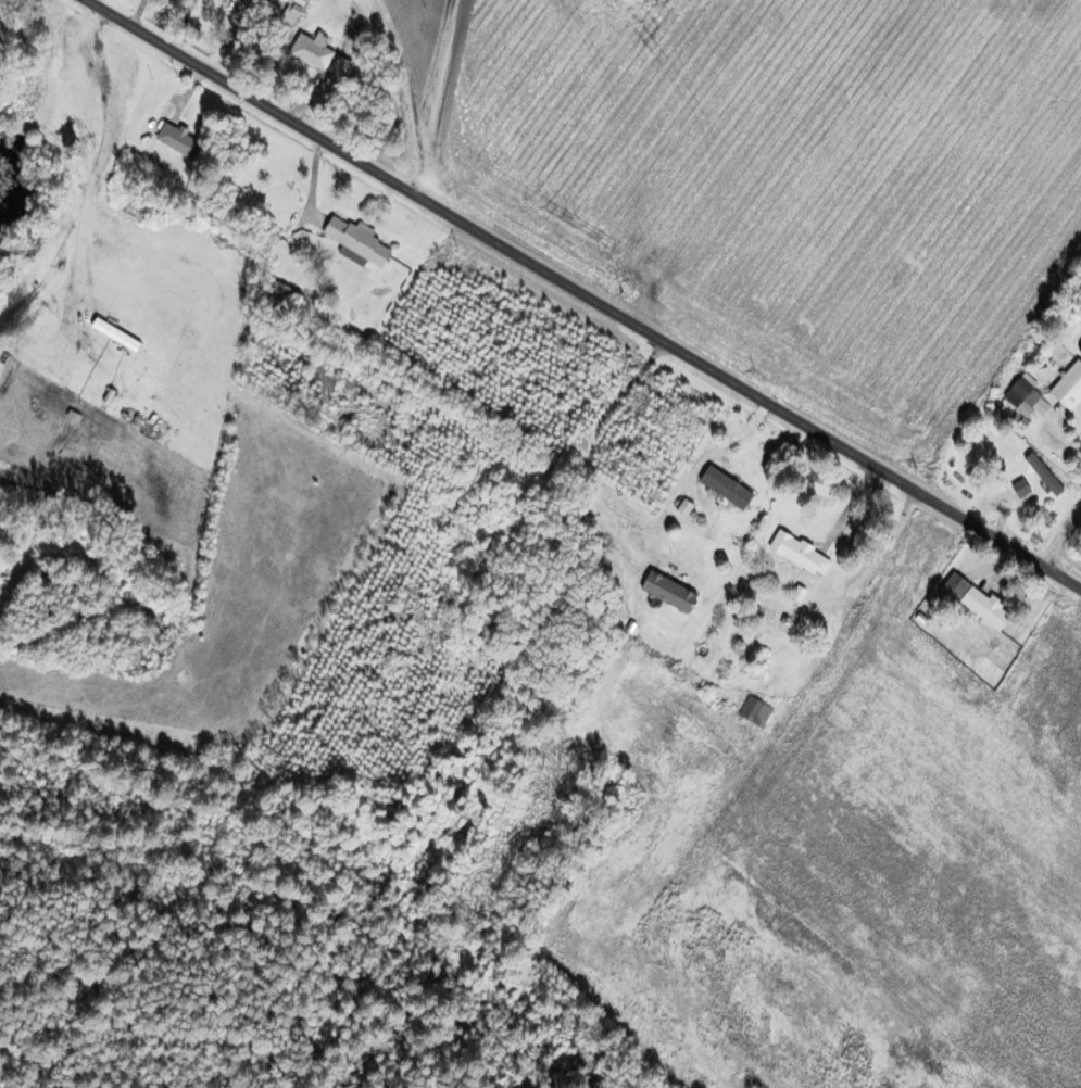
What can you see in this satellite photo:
building: (307, 51)
road: (403, 91)
road: (113, 134)
building: (174, 140)
building: (351, 242)
building: (277, 293)
road: (583, 293)
building: (1065, 389)
building: (1019, 396)
building: (1038, 482)
building: (721, 489)
road: (1061, 539)
building: (795, 556)
building: (663, 592)
building: (980, 609)
building: (752, 712)

